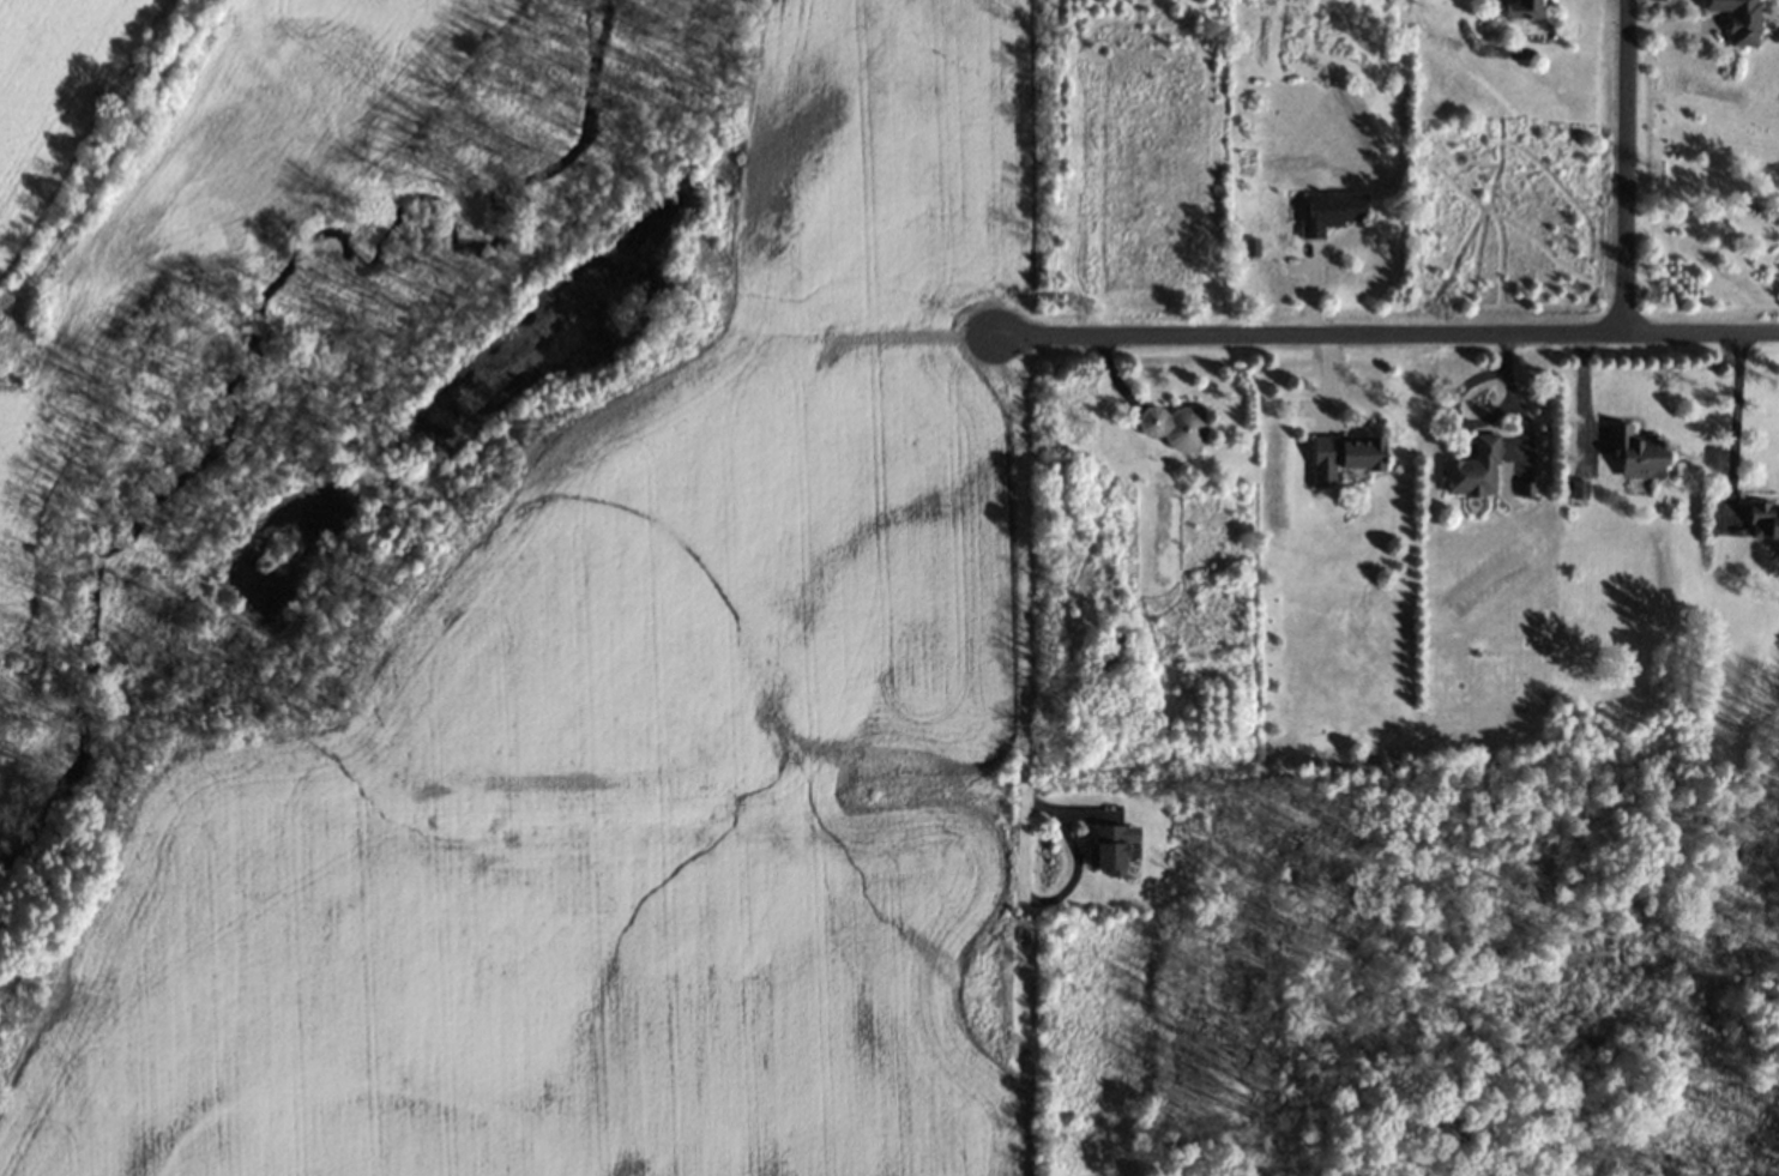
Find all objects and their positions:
building: (1527, 8)
building: (1742, 20)
road: (1622, 165)
building: (1334, 212)
road: (1383, 333)
road: (1733, 426)
building: (1175, 428)
building: (1639, 456)
building: (1347, 458)
building: (1476, 470)
building: (1763, 519)
road: (1020, 585)
building: (1112, 846)

